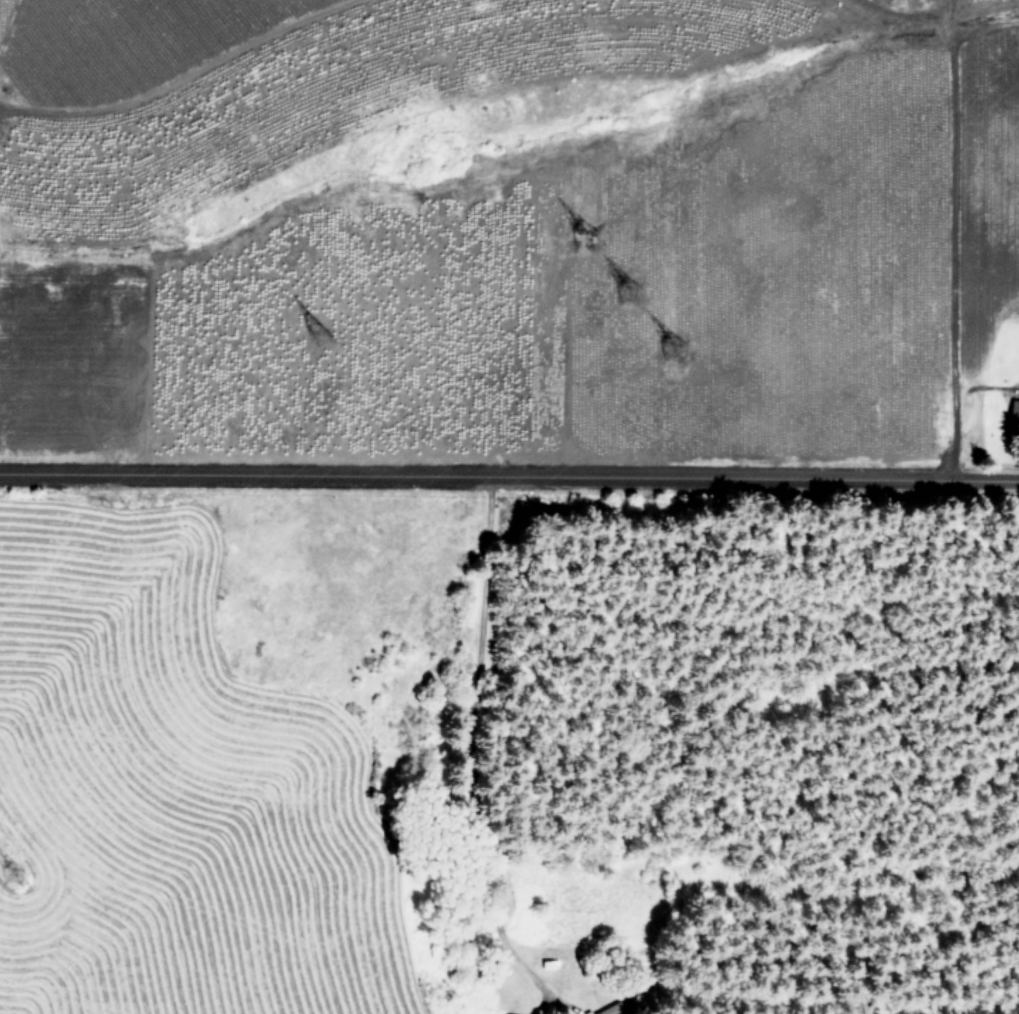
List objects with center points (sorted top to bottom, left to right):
power tower: (584, 232)
power tower: (630, 290)
power tower: (316, 330)
power tower: (674, 352)
crop: (425, 404)
road: (958, 404)
building: (1014, 409)
road: (509, 471)
road: (457, 745)
power tower: (21, 878)
building: (608, 1009)

